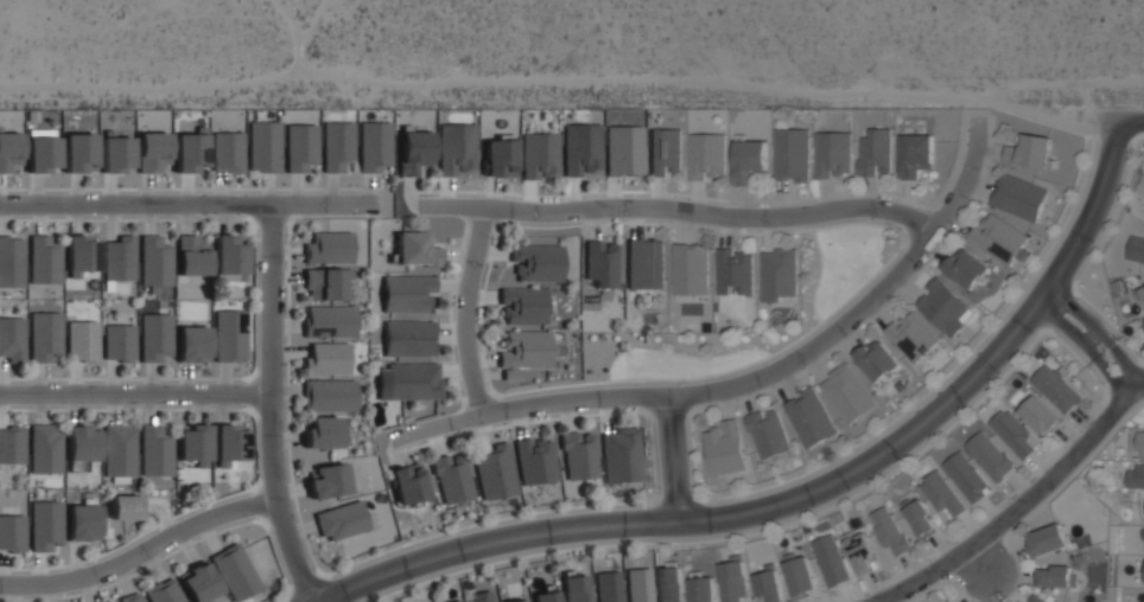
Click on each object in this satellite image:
road: (1131, 120)
building: (337, 145)
building: (263, 146)
building: (374, 146)
building: (300, 147)
building: (456, 148)
building: (580, 148)
building: (42, 149)
building: (624, 149)
building: (9, 150)
building: (190, 150)
building: (414, 150)
building: (665, 150)
building: (152, 152)
building: (227, 152)
building: (875, 152)
building: (78, 153)
building: (832, 153)
building: (115, 154)
building: (790, 154)
building: (915, 154)
building: (540, 155)
building: (706, 155)
building: (500, 158)
building: (748, 161)
building: (1018, 197)
road: (188, 204)
road: (681, 211)
building: (997, 238)
building: (329, 246)
building: (415, 249)
building: (1136, 249)
building: (81, 255)
building: (192, 256)
building: (229, 257)
building: (119, 258)
building: (44, 260)
building: (12, 261)
building: (154, 261)
building: (536, 262)
building: (600, 263)
building: (644, 263)
building: (966, 268)
building: (689, 269)
building: (733, 271)
building: (778, 274)
building: (325, 283)
building: (1142, 292)
building: (407, 293)
building: (523, 306)
building: (945, 307)
road: (466, 312)
building: (1143, 320)
building: (329, 321)
road: (1101, 332)
building: (44, 335)
building: (229, 335)
building: (911, 335)
building: (154, 337)
building: (408, 338)
building: (12, 339)
building: (82, 340)
building: (119, 342)
building: (192, 344)
road: (1087, 346)
building: (523, 352)
building: (326, 359)
building: (877, 359)
building: (408, 380)
road: (748, 384)
building: (1055, 389)
road: (135, 393)
building: (846, 393)
building: (329, 395)
road: (272, 405)
building: (1038, 415)
building: (809, 417)
building: (324, 433)
building: (768, 433)
building: (1013, 434)
building: (228, 443)
building: (12, 444)
building: (193, 444)
building: (81, 447)
building: (44, 448)
building: (725, 448)
building: (119, 450)
building: (154, 450)
building: (578, 455)
building: (619, 455)
building: (989, 455)
building: (535, 460)
road: (674, 460)
building: (494, 472)
building: (1135, 475)
building: (965, 476)
building: (452, 478)
building: (328, 481)
building: (408, 483)
building: (941, 494)
road: (808, 495)
road: (1021, 506)
building: (126, 507)
building: (919, 518)
building: (341, 520)
building: (82, 521)
building: (44, 525)
building: (889, 531)
building: (12, 532)
building: (1047, 539)
road: (141, 552)
building: (860, 552)
building: (830, 561)
building: (234, 572)
building: (800, 576)
building: (1056, 576)
building: (733, 581)
building: (768, 583)
building: (199, 584)
building: (638, 584)
building: (669, 584)
building: (609, 587)
building: (574, 588)
building: (701, 589)
building: (163, 591)
building: (481, 596)
building: (545, 596)
building: (129, 597)
building: (1035, 598)
building: (456, 601)
building: (516, 601)
building: (946, 601)

